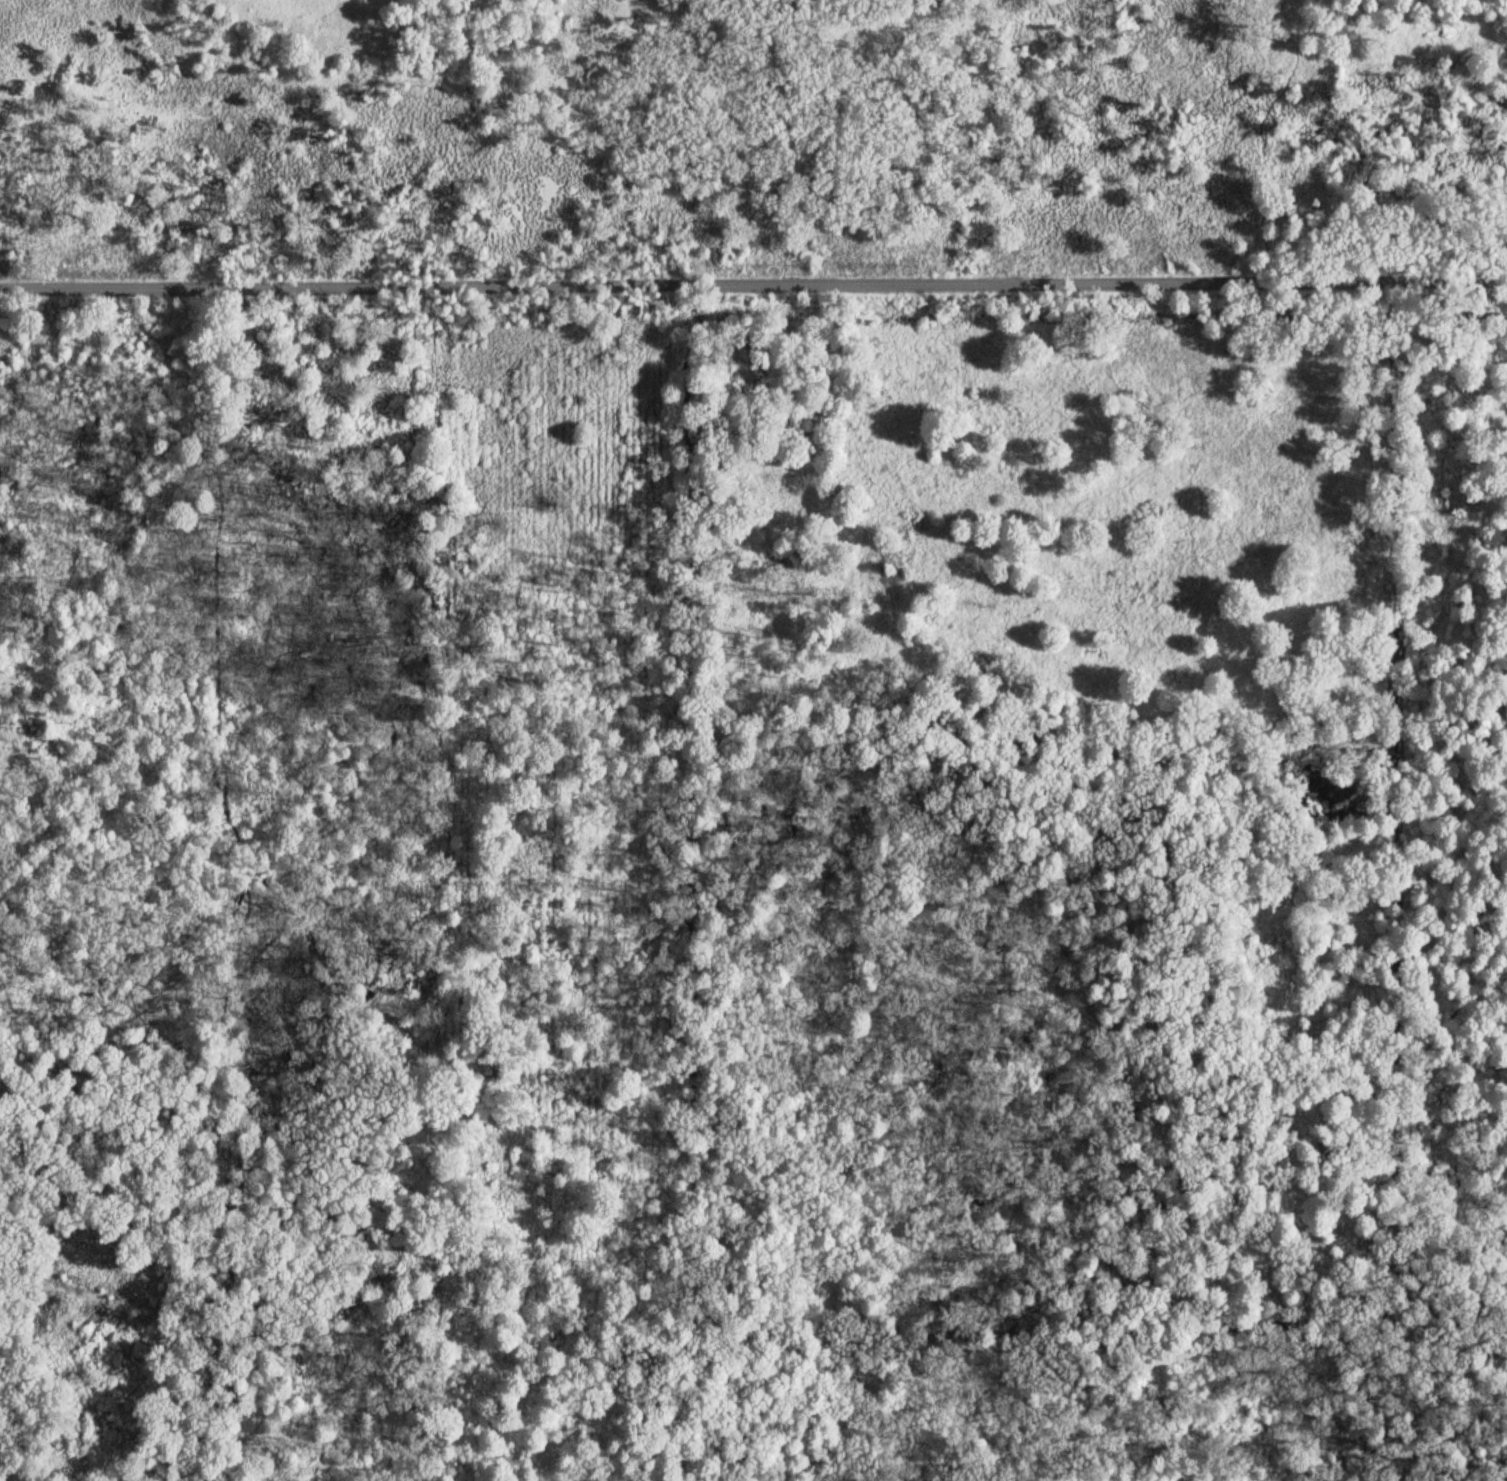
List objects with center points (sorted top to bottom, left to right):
road: (753, 285)

